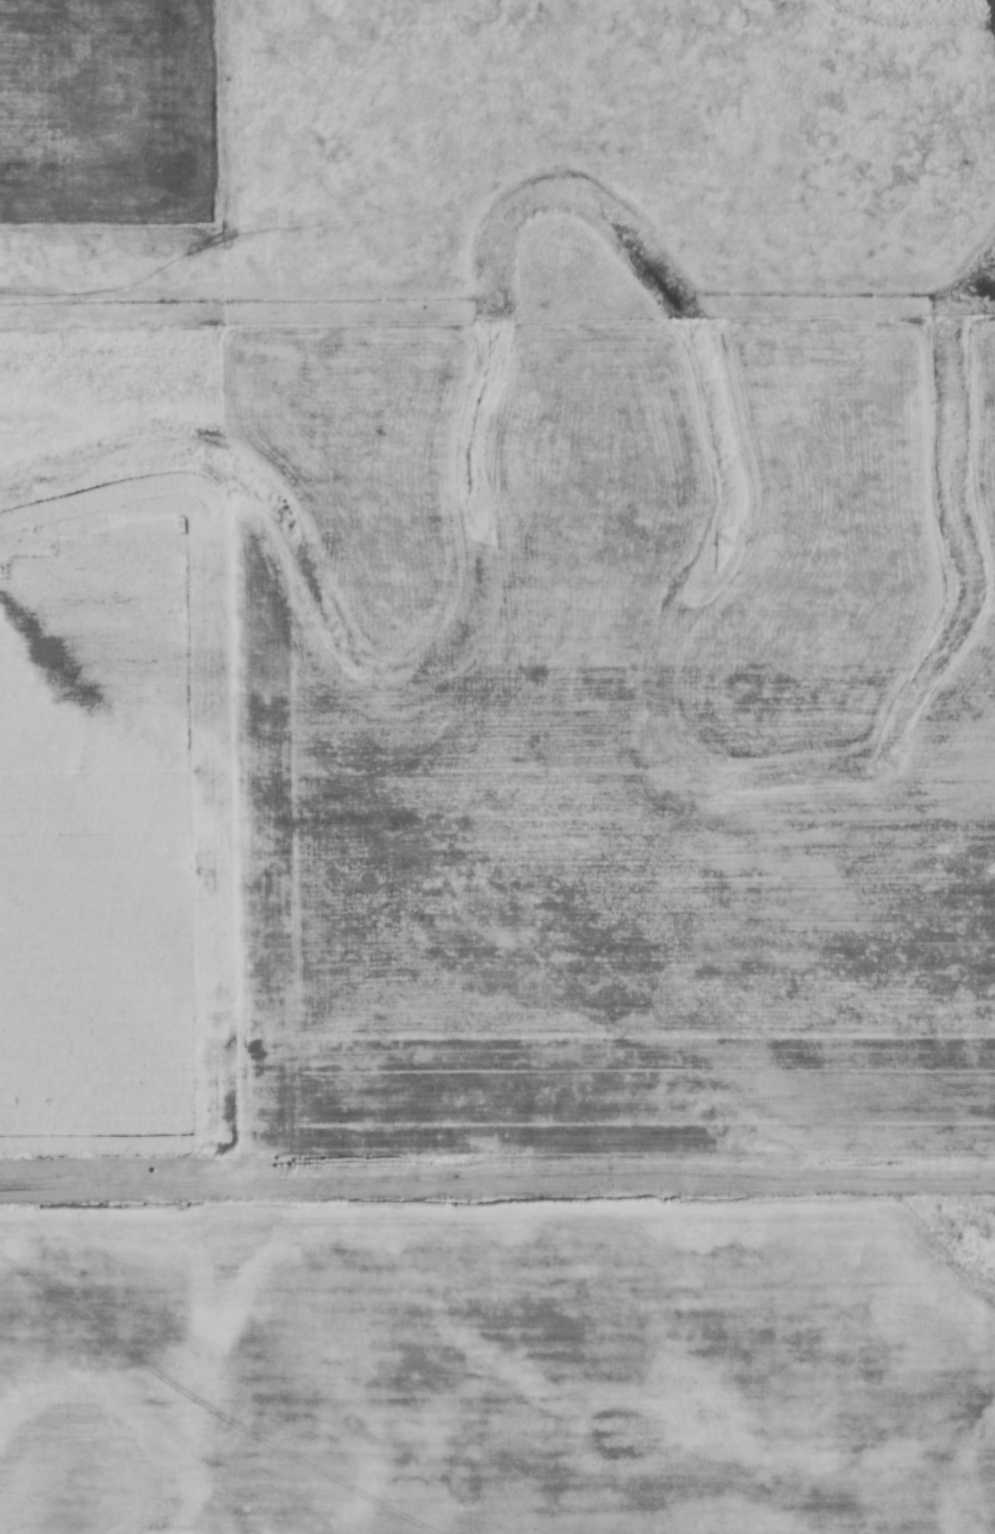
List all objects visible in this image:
road: (497, 1170)

